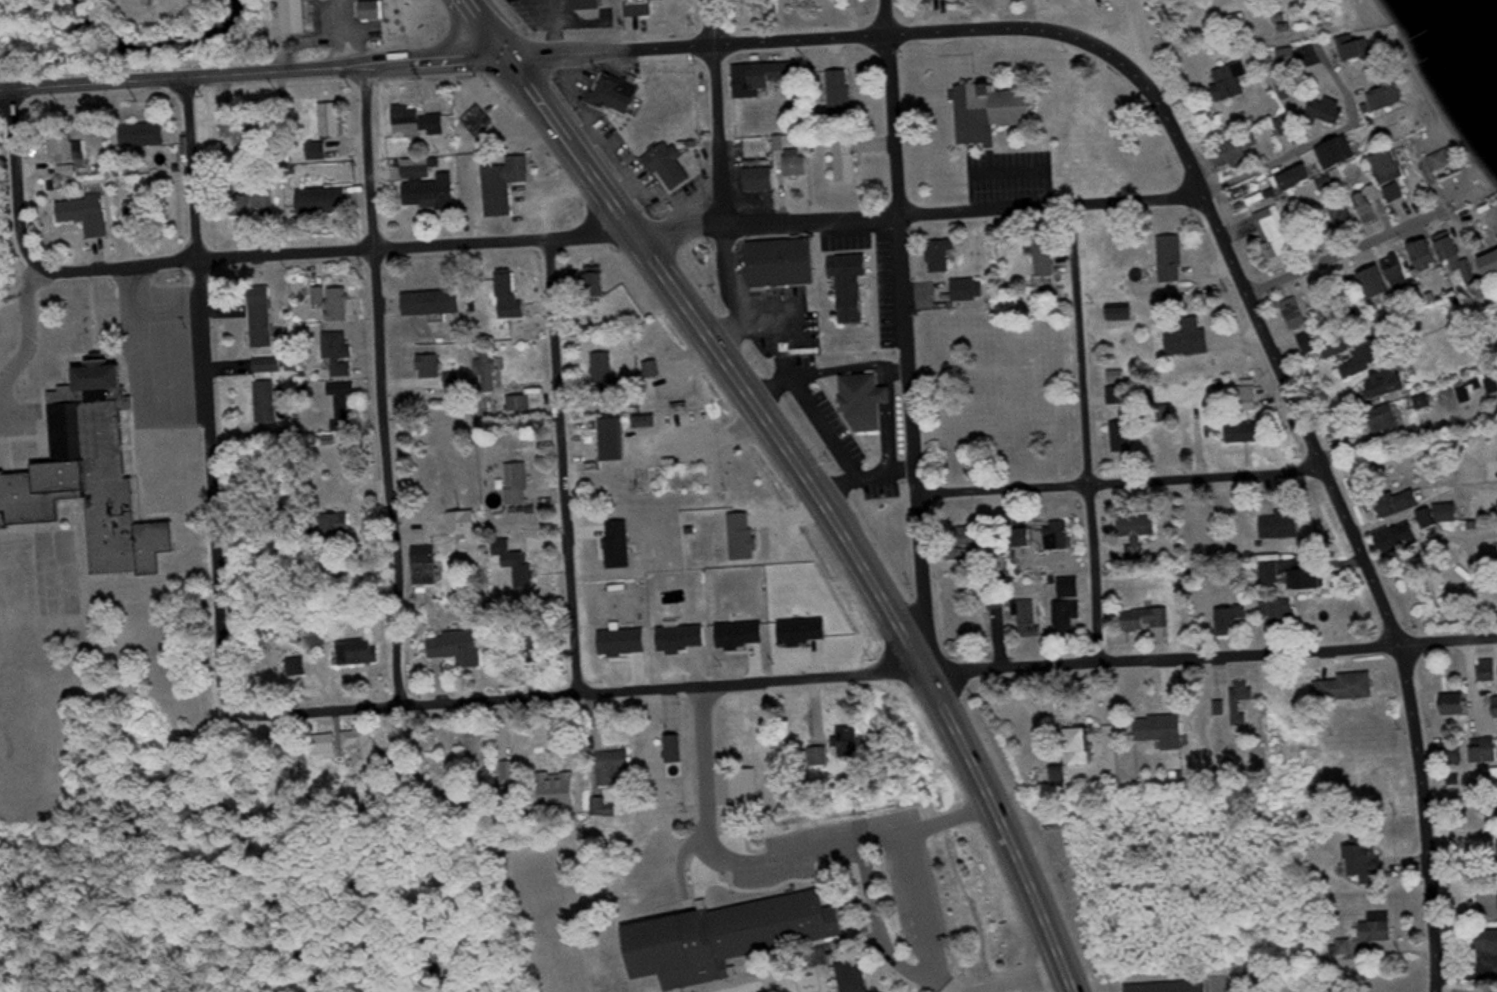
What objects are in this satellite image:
building: (931, 0)
building: (589, 5)
building: (642, 9)
building: (373, 11)
building: (298, 17)
road: (489, 29)
road: (1130, 30)
road: (344, 32)
road: (817, 38)
building: (1360, 49)
building: (1294, 59)
road: (255, 73)
building: (769, 79)
building: (1235, 83)
road: (1343, 84)
building: (1294, 91)
building: (618, 95)
building: (844, 96)
building: (1391, 97)
building: (1334, 110)
building: (993, 112)
road: (717, 114)
building: (333, 120)
building: (481, 122)
building: (1294, 122)
building: (419, 123)
building: (242, 129)
building: (146, 135)
building: (64, 144)
building: (1247, 148)
building: (319, 152)
building: (1344, 152)
road: (1284, 159)
building: (849, 160)
building: (1445, 161)
building: (798, 164)
building: (669, 167)
building: (418, 170)
building: (1397, 173)
building: (1303, 176)
building: (764, 178)
building: (1332, 182)
road: (19, 186)
building: (506, 186)
building: (433, 195)
road: (556, 197)
building: (257, 203)
building: (326, 203)
building: (1373, 204)
building: (143, 212)
building: (90, 213)
building: (1346, 218)
building: (1278, 233)
road: (628, 235)
road: (1350, 252)
building: (1430, 253)
building: (943, 255)
building: (1459, 255)
building: (1175, 259)
building: (1493, 264)
building: (1402, 272)
building: (598, 282)
building: (1382, 282)
road: (27, 286)
building: (969, 289)
road: (736, 296)
building: (511, 297)
building: (335, 302)
building: (435, 303)
building: (1124, 313)
building: (1299, 313)
building: (264, 325)
road: (911, 335)
building: (1191, 338)
building: (341, 352)
building: (1375, 352)
building: (269, 364)
building: (432, 366)
building: (490, 368)
building: (655, 369)
road: (831, 371)
building: (1118, 377)
building: (456, 378)
road: (795, 381)
building: (1393, 381)
road: (384, 384)
building: (609, 385)
road: (205, 396)
building: (1118, 396)
building: (869, 400)
building: (268, 402)
building: (521, 402)
building: (346, 405)
building: (1389, 418)
building: (649, 421)
road: (891, 421)
building: (1248, 431)
building: (1126, 432)
road: (1087, 434)
building: (615, 439)
road: (565, 466)
road: (867, 475)
building: (92, 476)
building: (520, 483)
road: (1122, 483)
building: (1408, 502)
road: (1341, 505)
road: (825, 506)
building: (1431, 519)
building: (339, 523)
building: (467, 523)
building: (1284, 525)
building: (1060, 535)
building: (1140, 535)
building: (1402, 537)
building: (505, 547)
road: (1433, 548)
building: (527, 571)
building: (1307, 579)
building: (1072, 588)
building: (999, 598)
building: (1288, 614)
building: (1070, 618)
building: (1149, 620)
building: (1232, 620)
building: (1031, 621)
building: (324, 635)
building: (462, 648)
building: (539, 648)
building: (360, 652)
building: (1489, 670)
road: (865, 675)
building: (1348, 687)
building: (1243, 700)
building: (1460, 704)
building: (1163, 731)
building: (850, 742)
building: (327, 747)
building: (1081, 747)
building: (1485, 750)
building: (365, 751)
building: (821, 755)
building: (614, 766)
building: (670, 767)
building: (1062, 773)
building: (1387, 787)
building: (561, 791)
building: (750, 792)
building: (767, 795)
building: (605, 808)
building: (1368, 859)
park: (198, 915)
building: (1382, 928)
building: (729, 939)
building: (1489, 943)
building: (857, 972)
building: (1174, 987)

